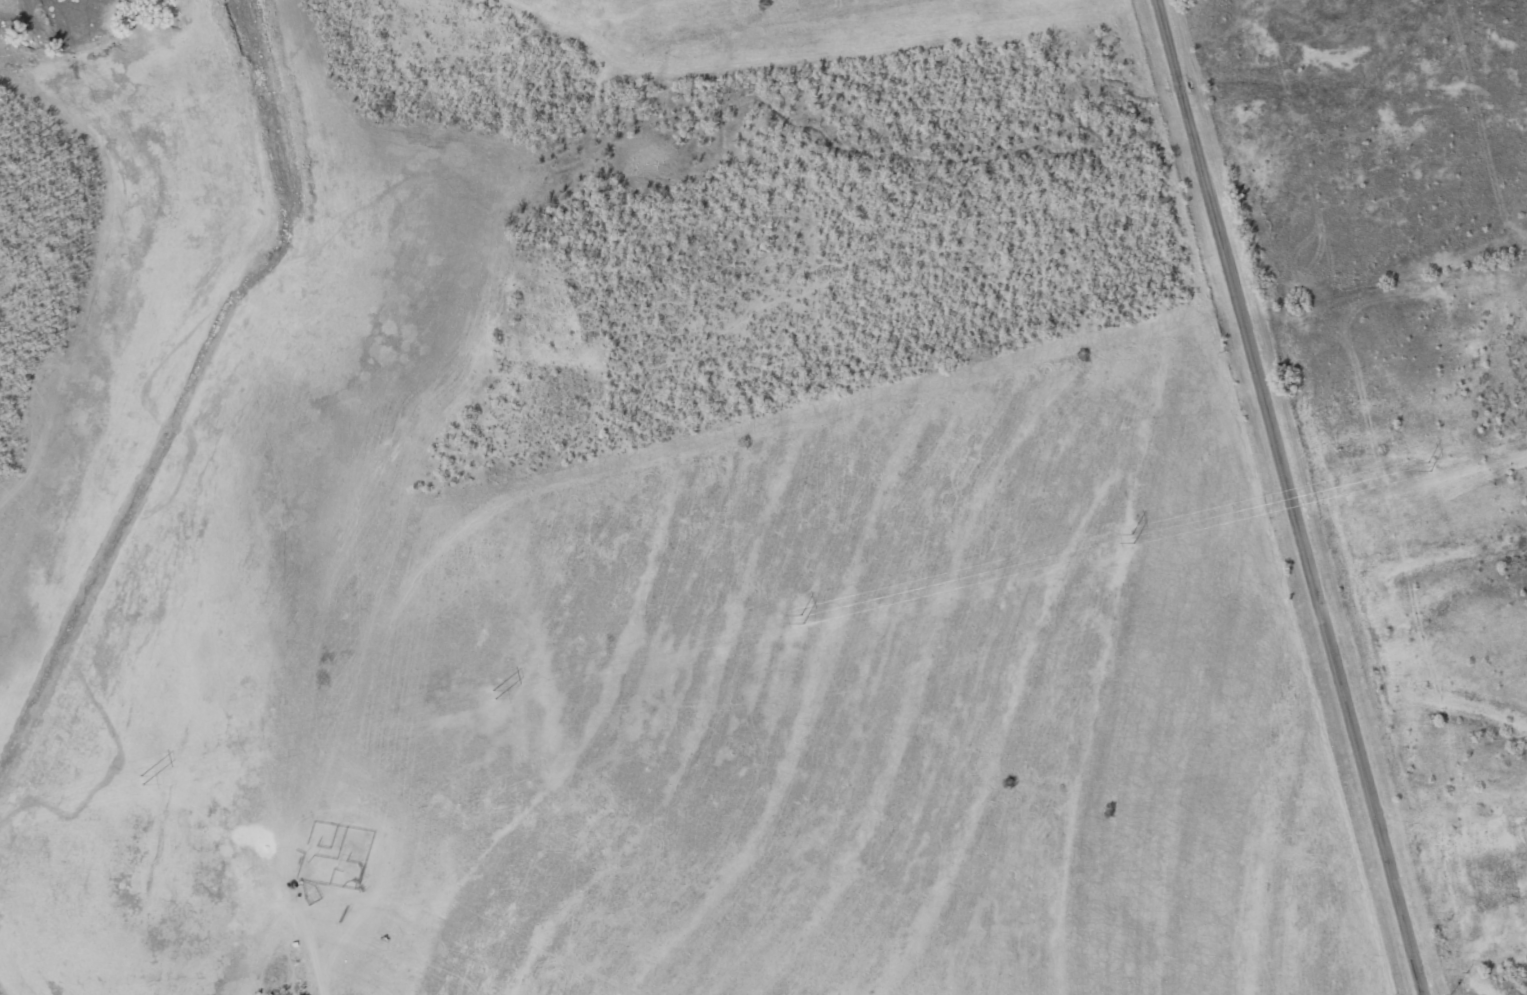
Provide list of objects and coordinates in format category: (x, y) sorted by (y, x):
power tower: (1385, 477)
road: (1288, 497)
power tower: (1138, 537)
power tower: (801, 620)
power tower: (497, 691)
power tower: (145, 779)

